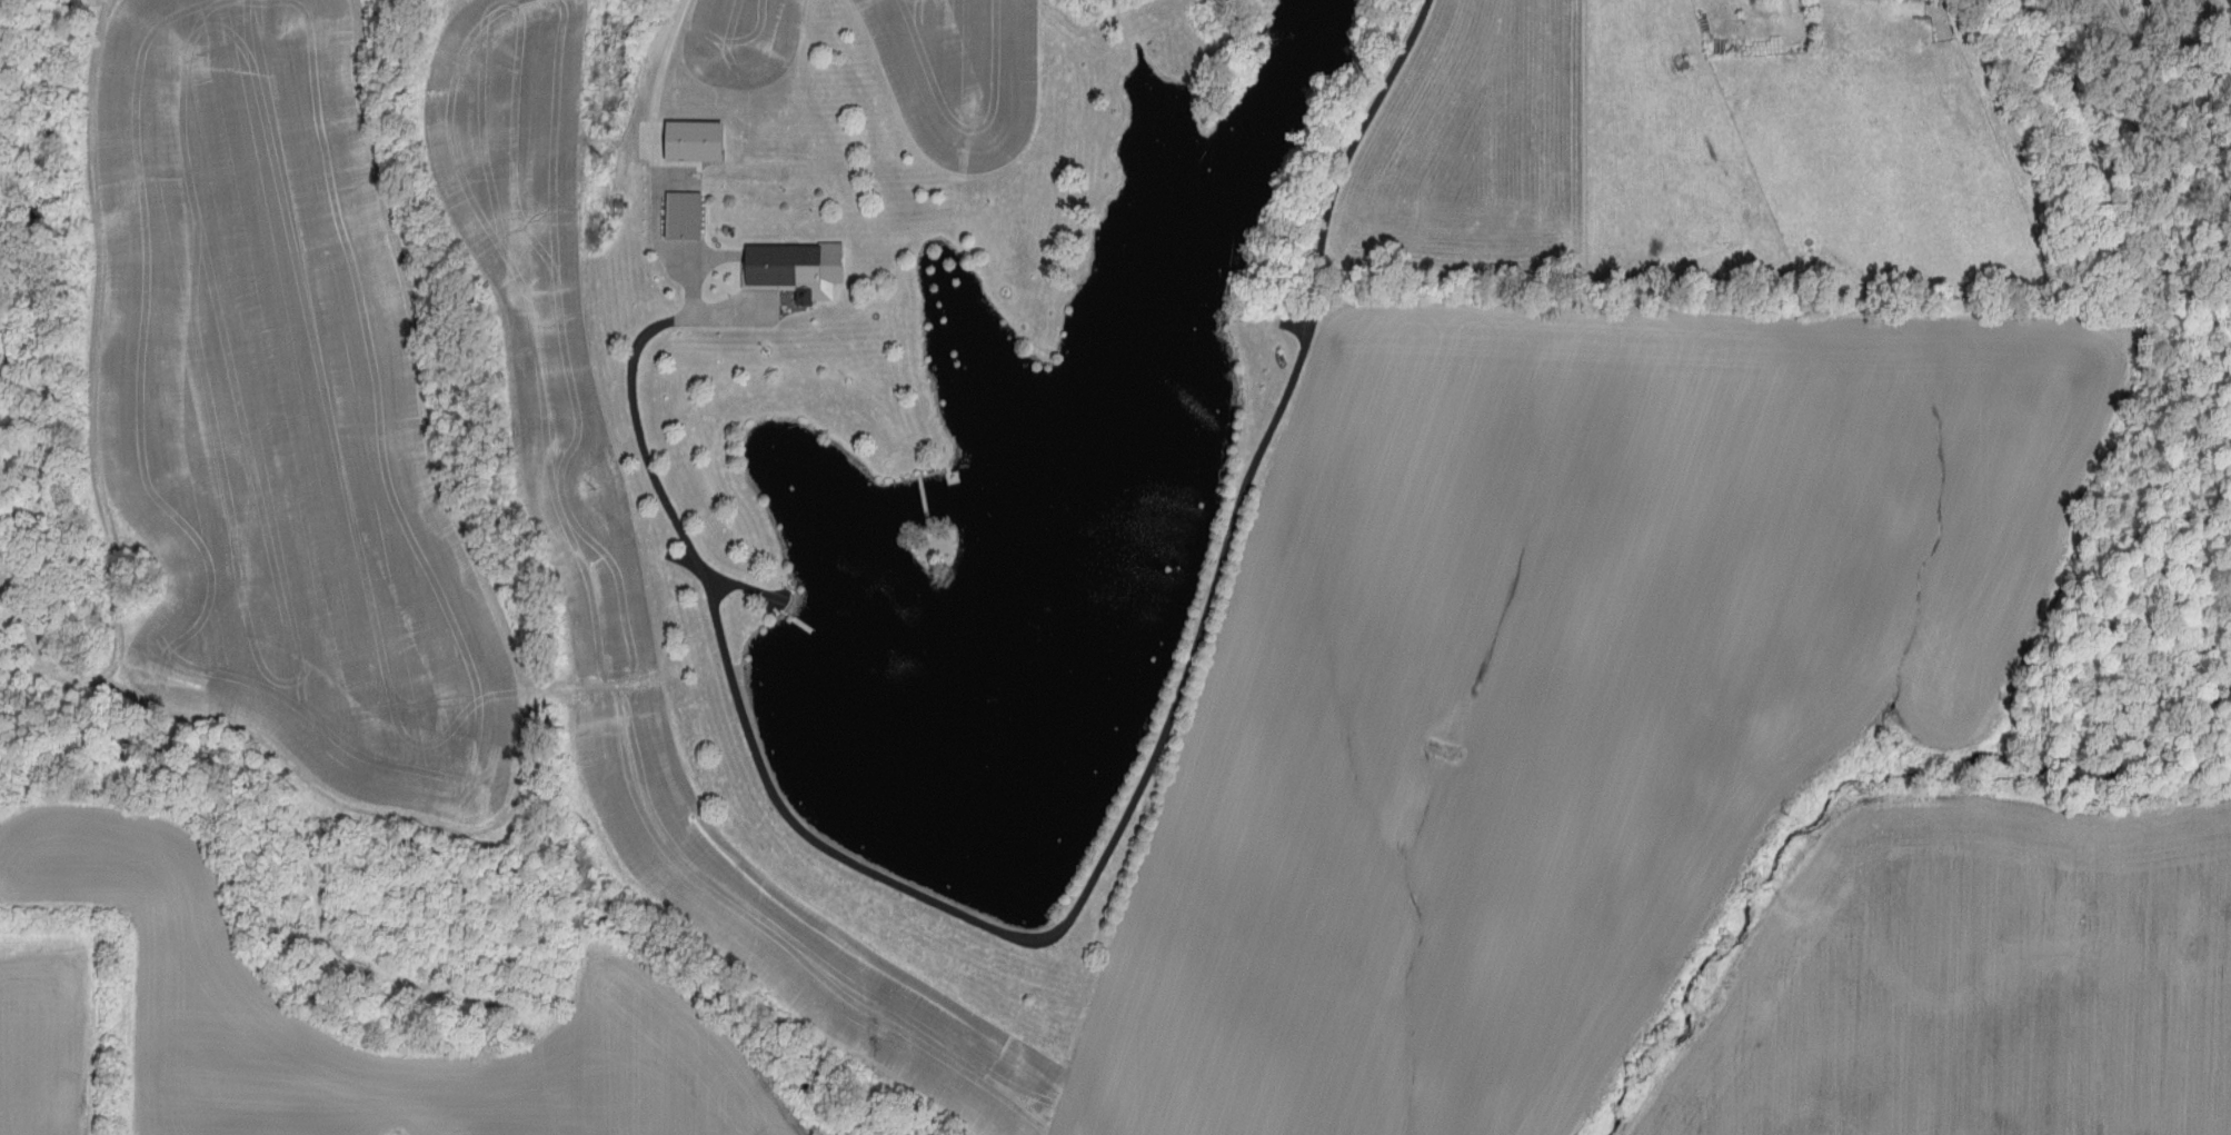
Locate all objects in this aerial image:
road: (1362, 130)
building: (685, 217)
building: (785, 269)
road: (834, 856)

